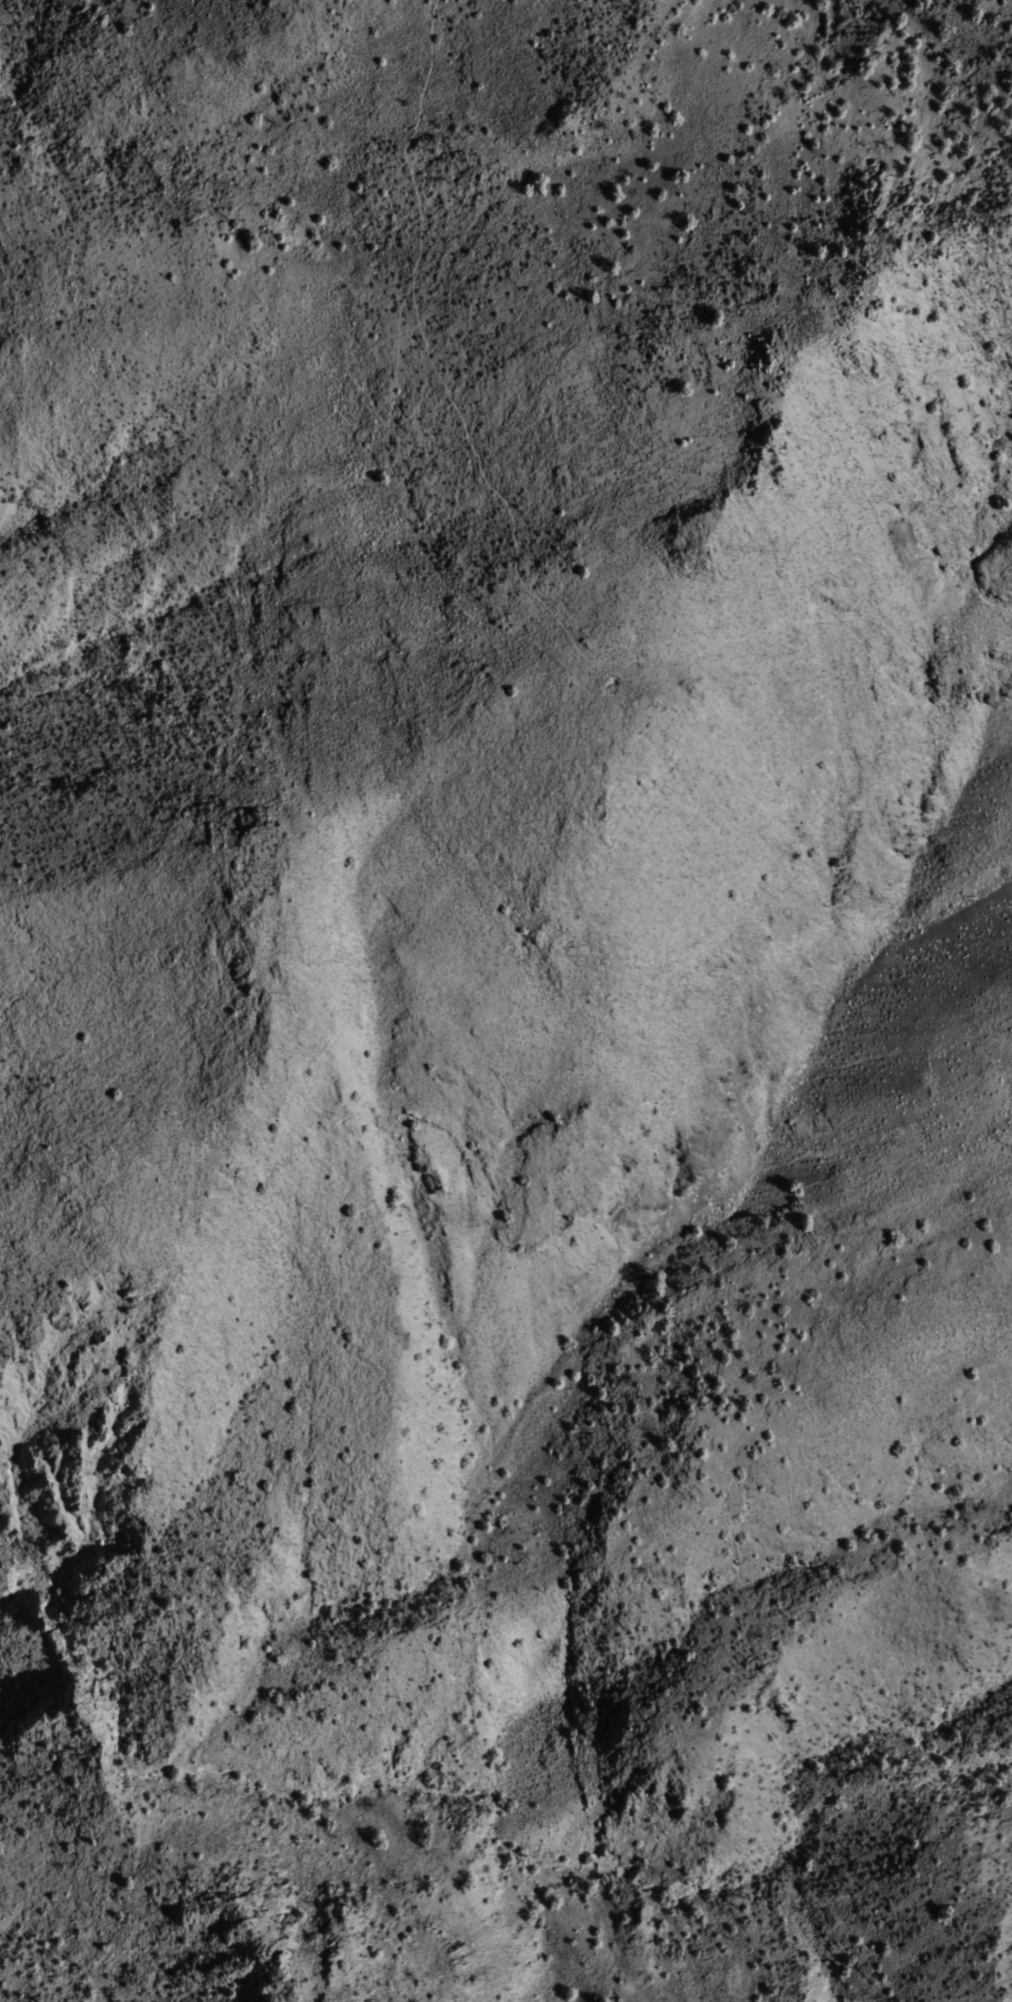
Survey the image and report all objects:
road: (999, 597)

